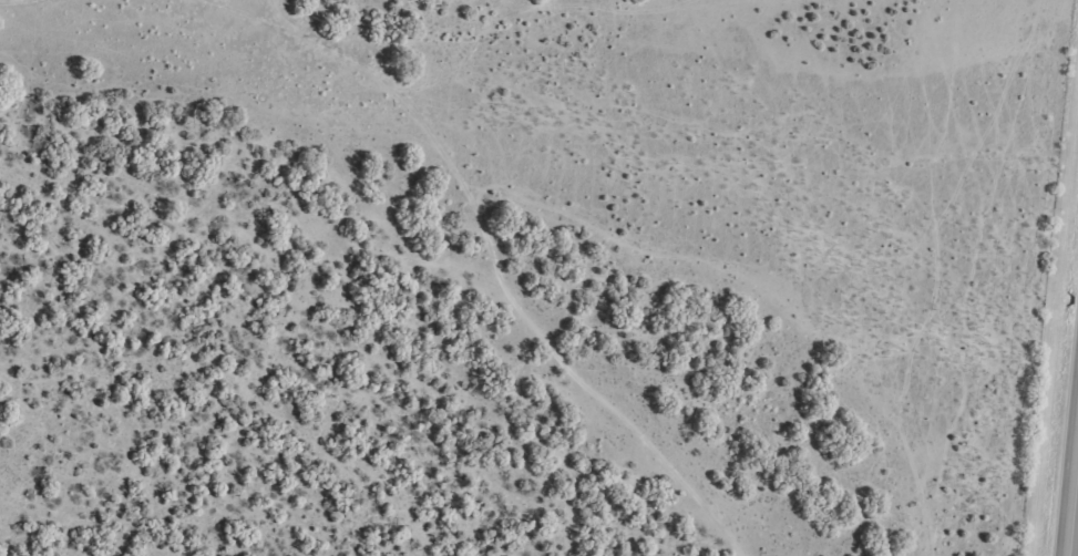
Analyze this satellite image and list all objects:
road: (1076, 536)

